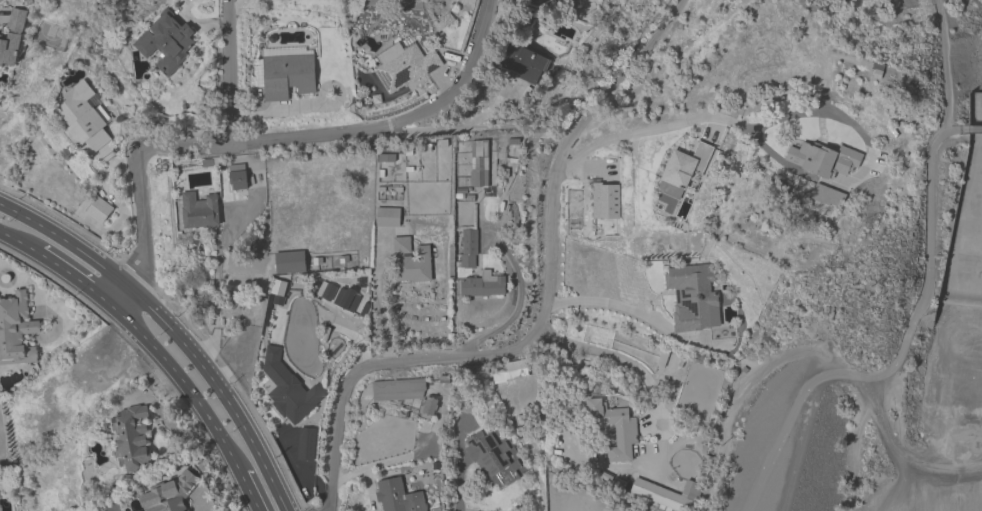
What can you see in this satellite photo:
road: (677, 0)
road: (233, 7)
building: (166, 41)
building: (9, 49)
building: (523, 64)
road: (944, 64)
building: (404, 65)
road: (227, 71)
building: (285, 72)
building: (83, 119)
road: (394, 121)
road: (974, 127)
road: (957, 128)
road: (636, 131)
building: (822, 159)
building: (479, 166)
building: (684, 166)
building: (237, 176)
road: (141, 188)
building: (606, 207)
building: (99, 210)
building: (199, 210)
building: (387, 216)
road: (20, 241)
building: (469, 248)
road: (929, 257)
building: (411, 261)
building: (289, 262)
road: (77, 278)
building: (483, 285)
building: (335, 294)
building: (693, 298)
road: (605, 303)
dam: (959, 303)
road: (379, 307)
road: (513, 308)
road: (542, 311)
building: (16, 330)
road: (171, 330)
road: (609, 354)
building: (509, 371)
road: (189, 388)
building: (288, 388)
road: (790, 414)
building: (616, 428)
building: (132, 439)
road: (799, 445)
road: (889, 446)
road: (899, 455)
building: (491, 461)
road: (456, 483)
building: (169, 493)
building: (666, 494)
building: (398, 496)
road: (258, 497)

